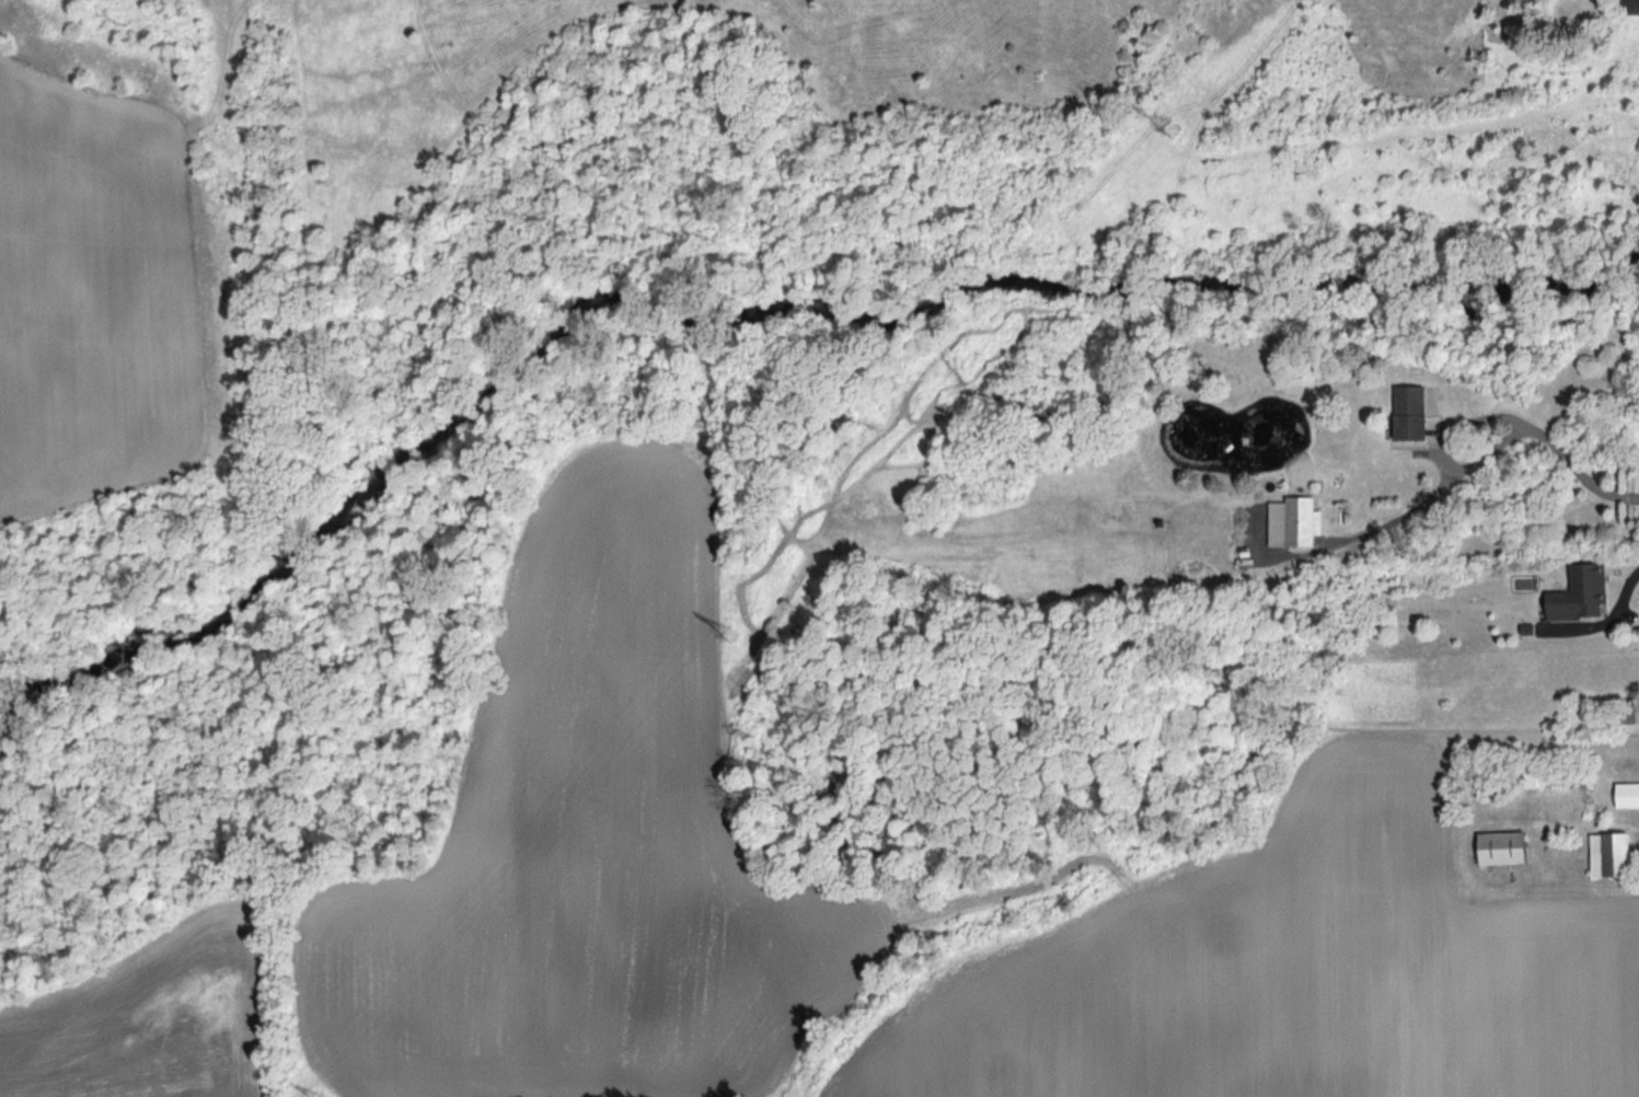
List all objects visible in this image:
power tower: (1177, 128)
crop: (99, 300)
building: (1409, 415)
road: (1562, 454)
building: (1292, 523)
building: (1580, 594)
road: (1617, 607)
power tower: (735, 636)
building: (1624, 711)
building: (1528, 773)
building: (1626, 795)
crop: (587, 845)
building: (1499, 848)
building: (1611, 852)
crop: (1286, 972)
crop: (143, 1020)

